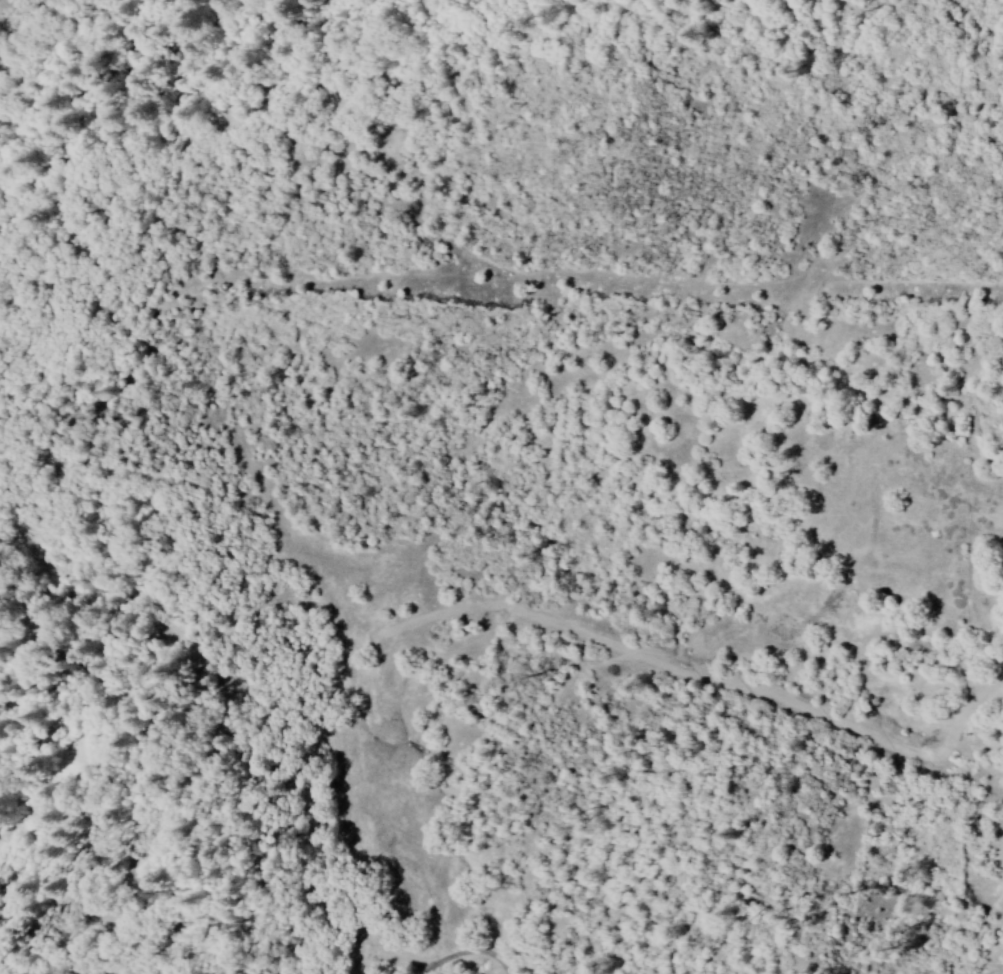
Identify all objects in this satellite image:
road: (414, 924)

